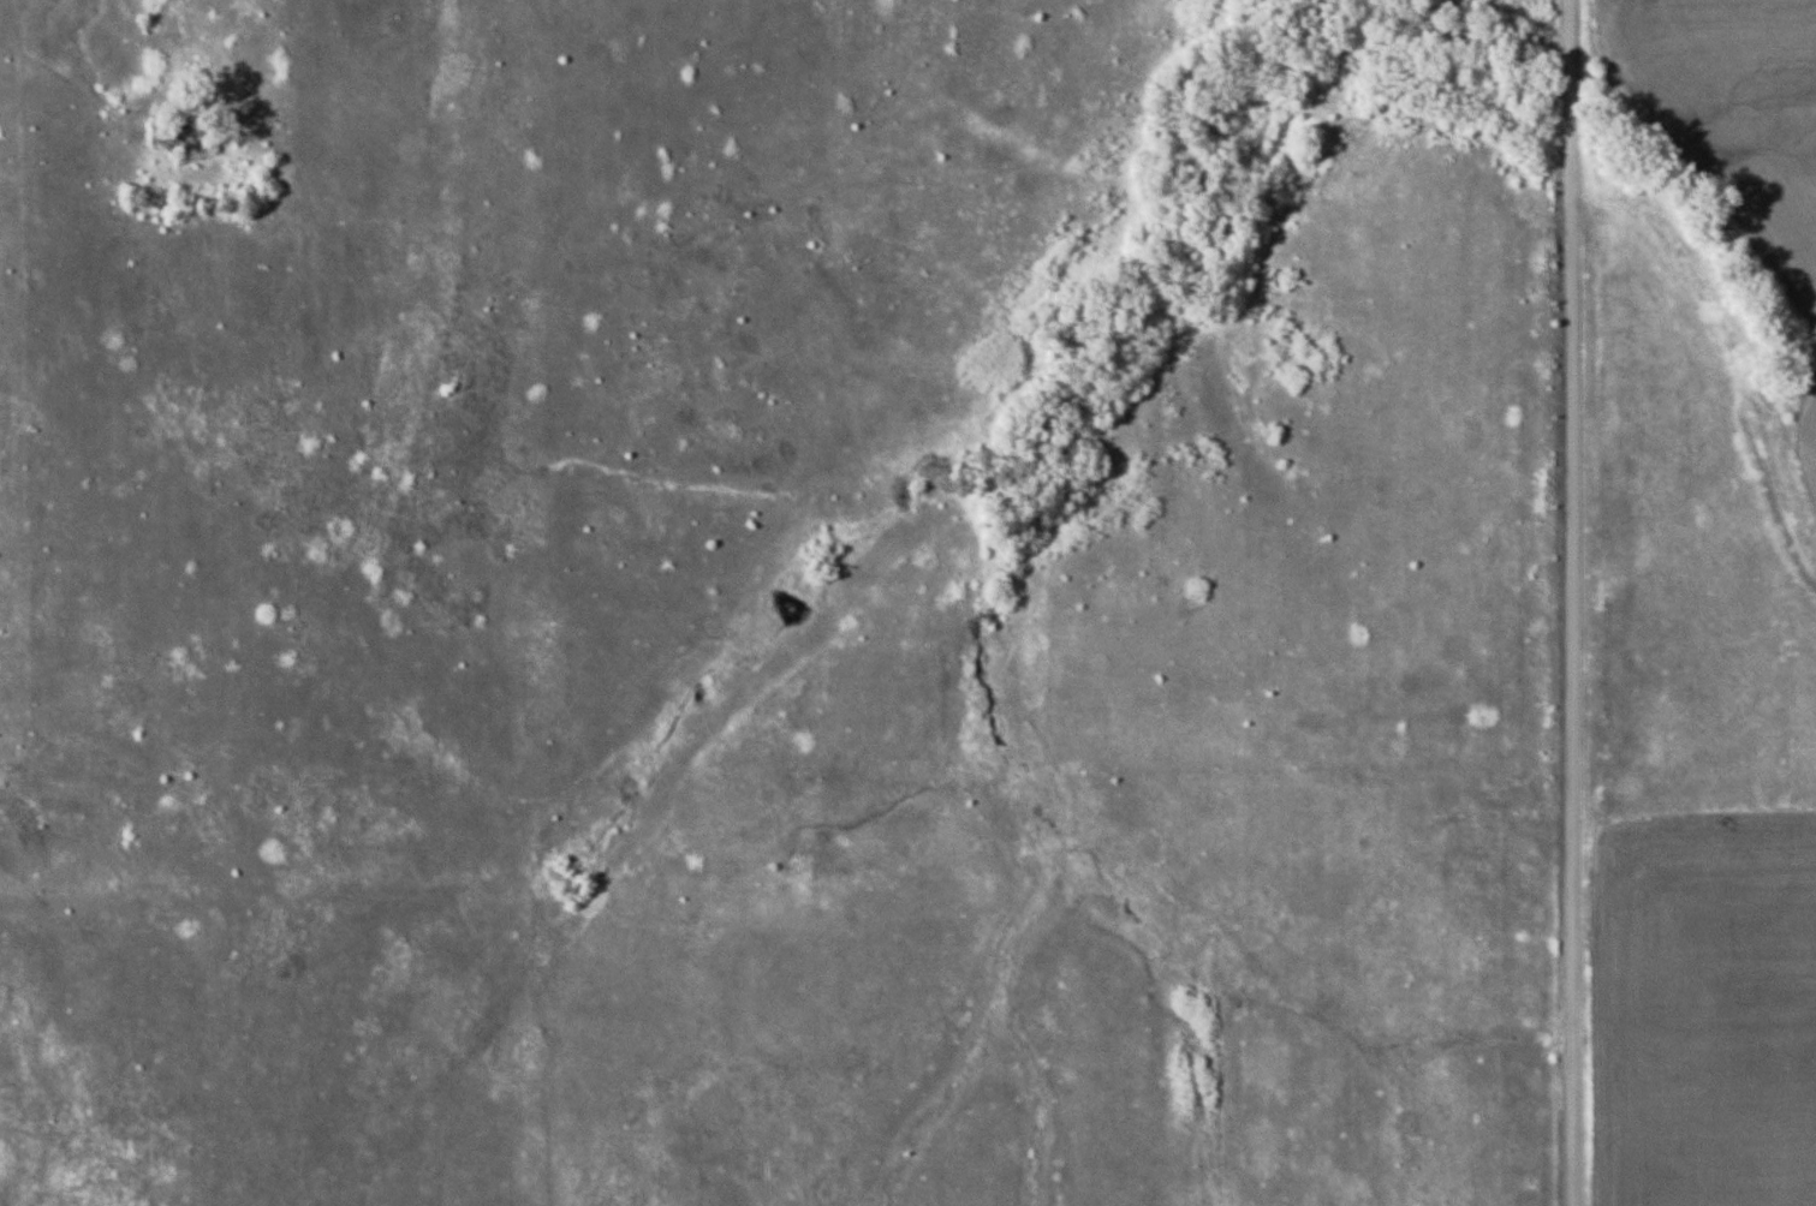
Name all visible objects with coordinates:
road: (1570, 602)

